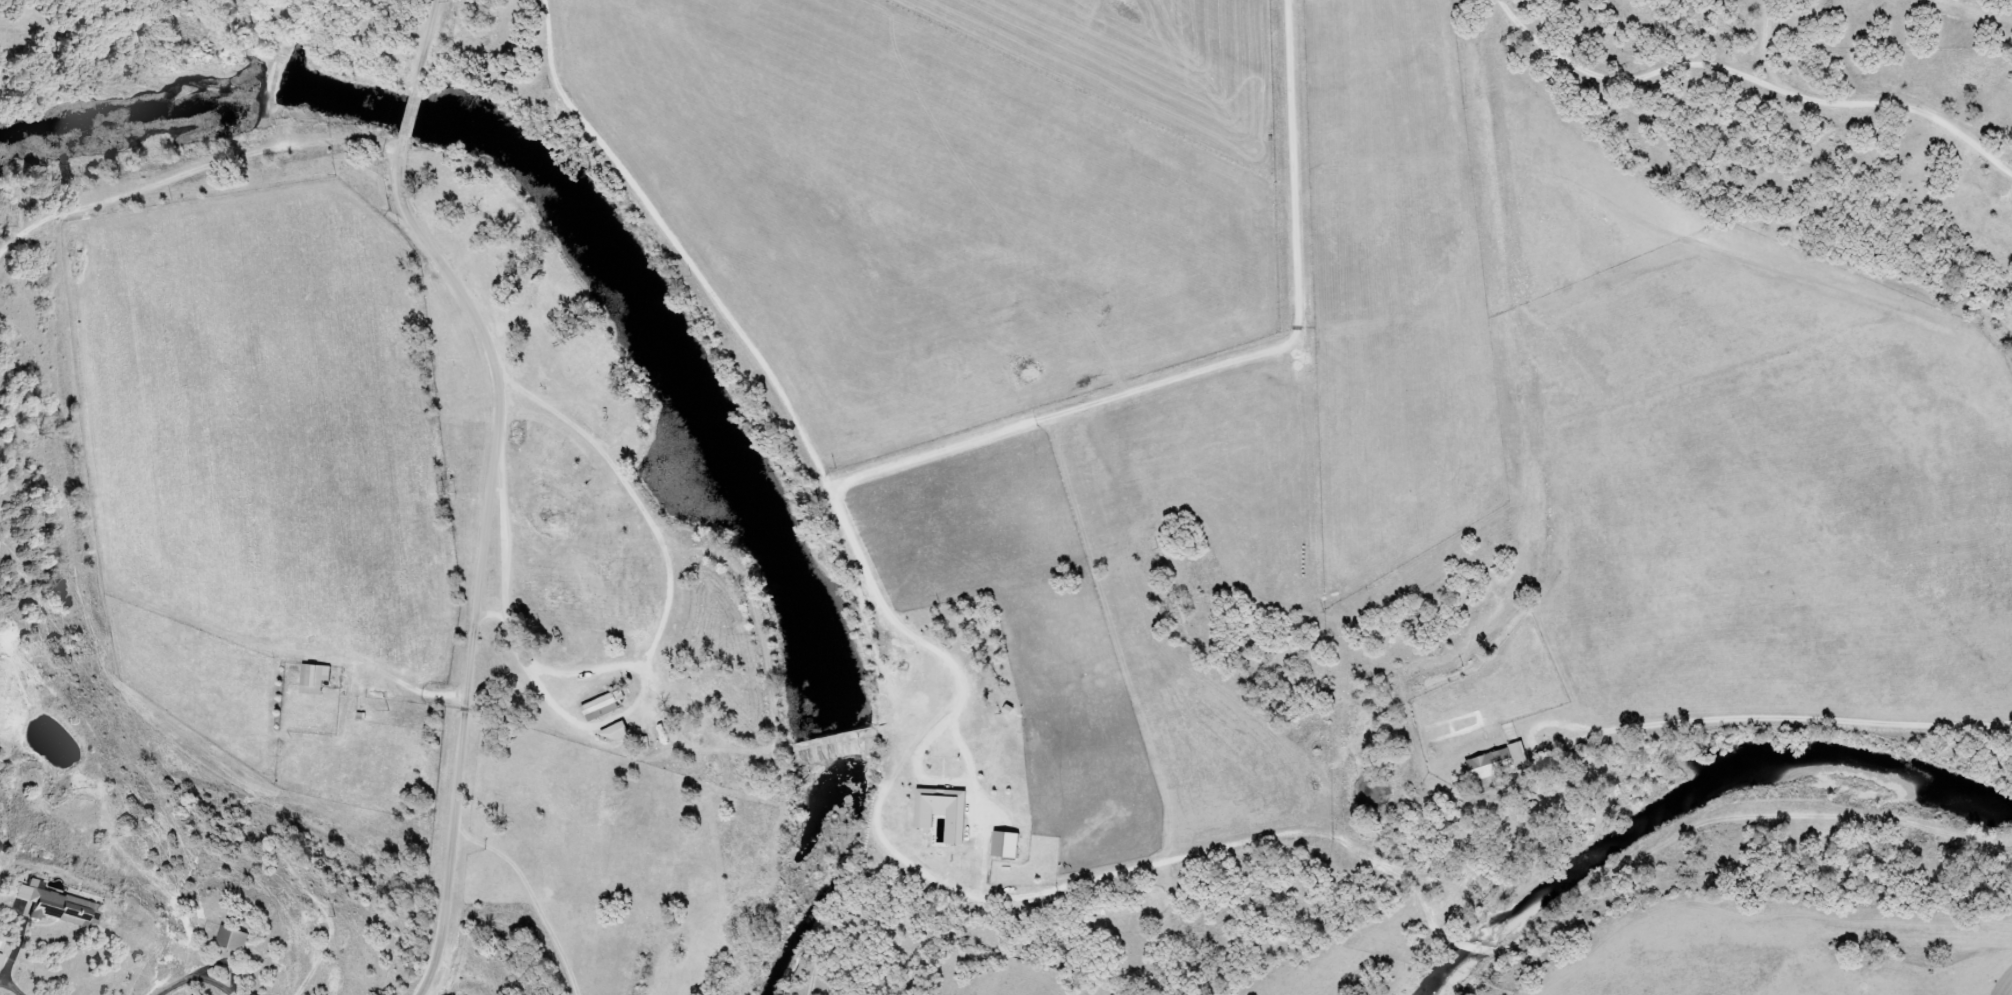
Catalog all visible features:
road: (423, 46)
road: (409, 115)
road: (683, 250)
river: (639, 320)
road: (1070, 424)
road: (487, 557)
road: (507, 568)
road: (671, 573)
building: (596, 708)
building: (610, 732)
building: (1490, 766)
river: (1679, 798)
building: (57, 909)
building: (230, 940)
road: (3, 975)
road: (195, 978)

